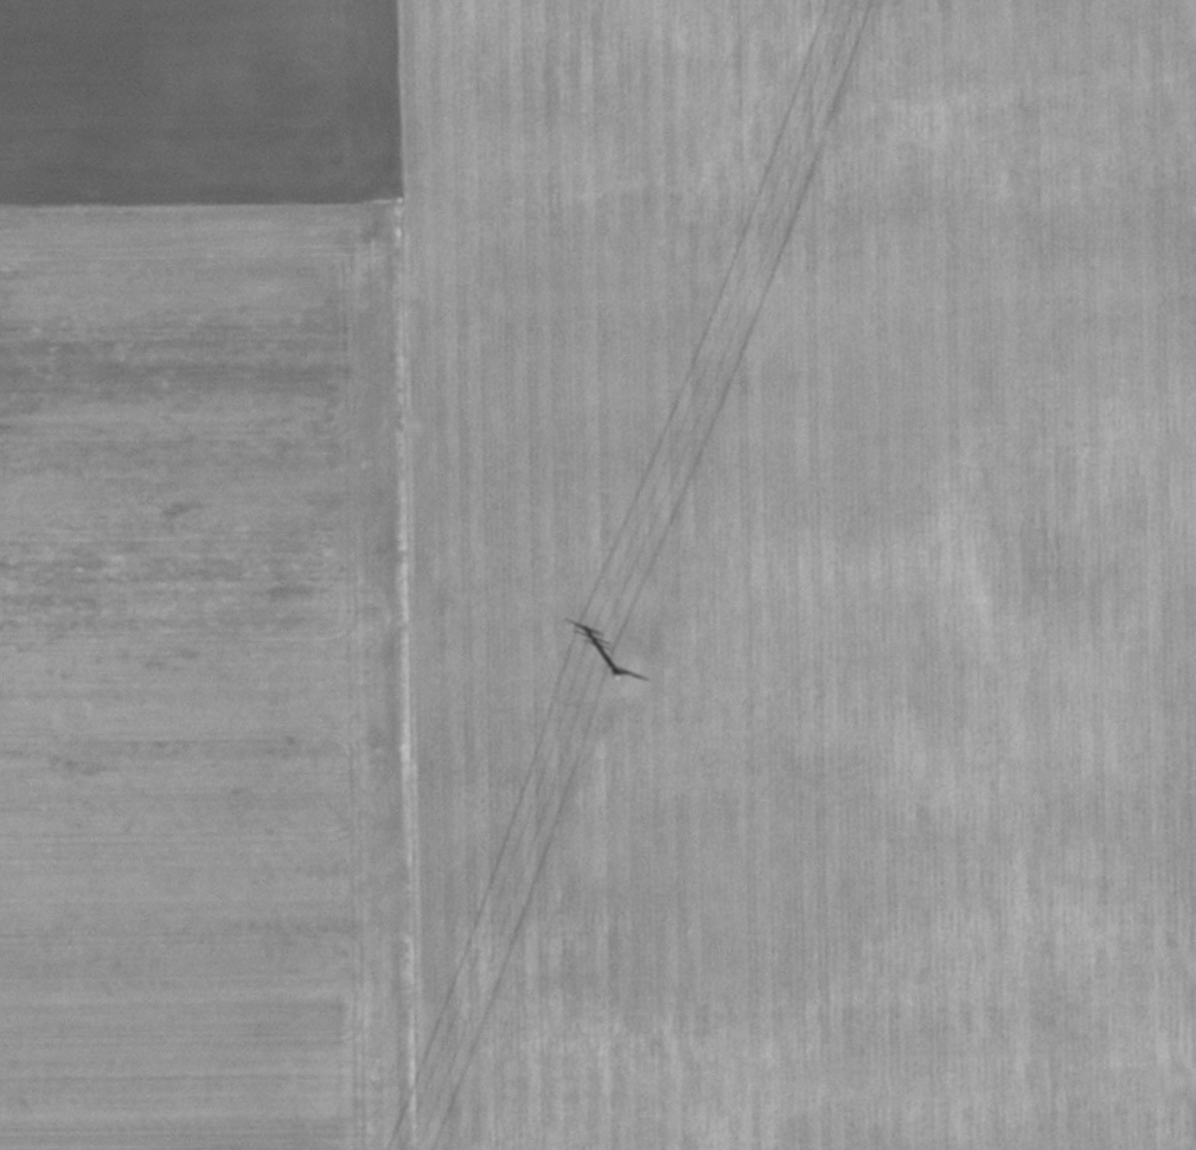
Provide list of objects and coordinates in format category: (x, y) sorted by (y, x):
power tower: (608, 669)

